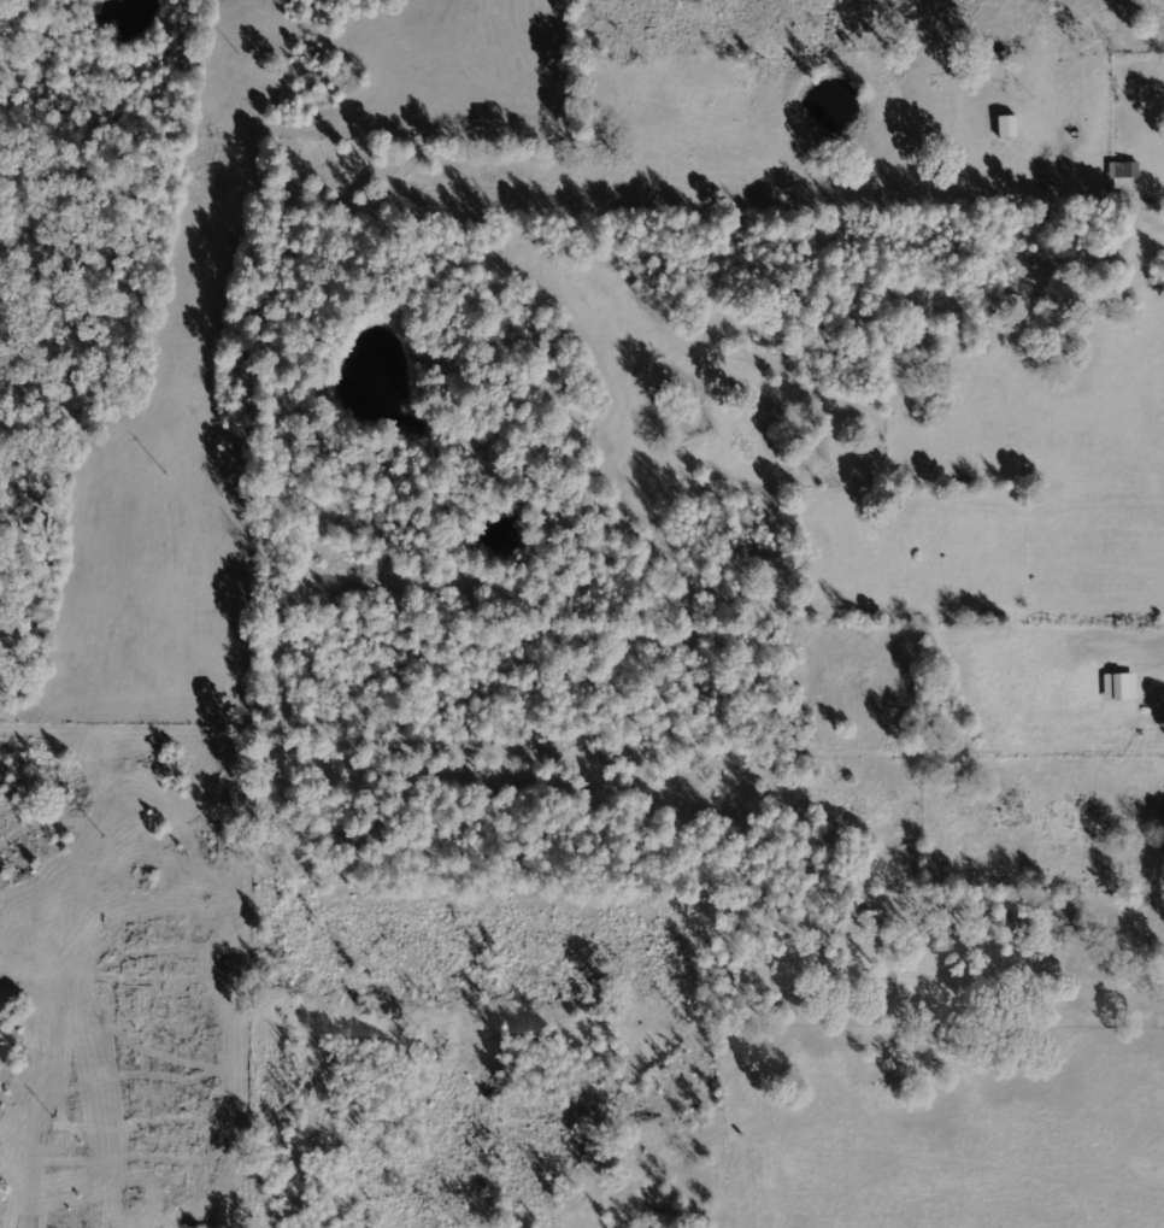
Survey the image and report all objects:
building: (1006, 127)
road: (1011, 428)
road: (1092, 742)

